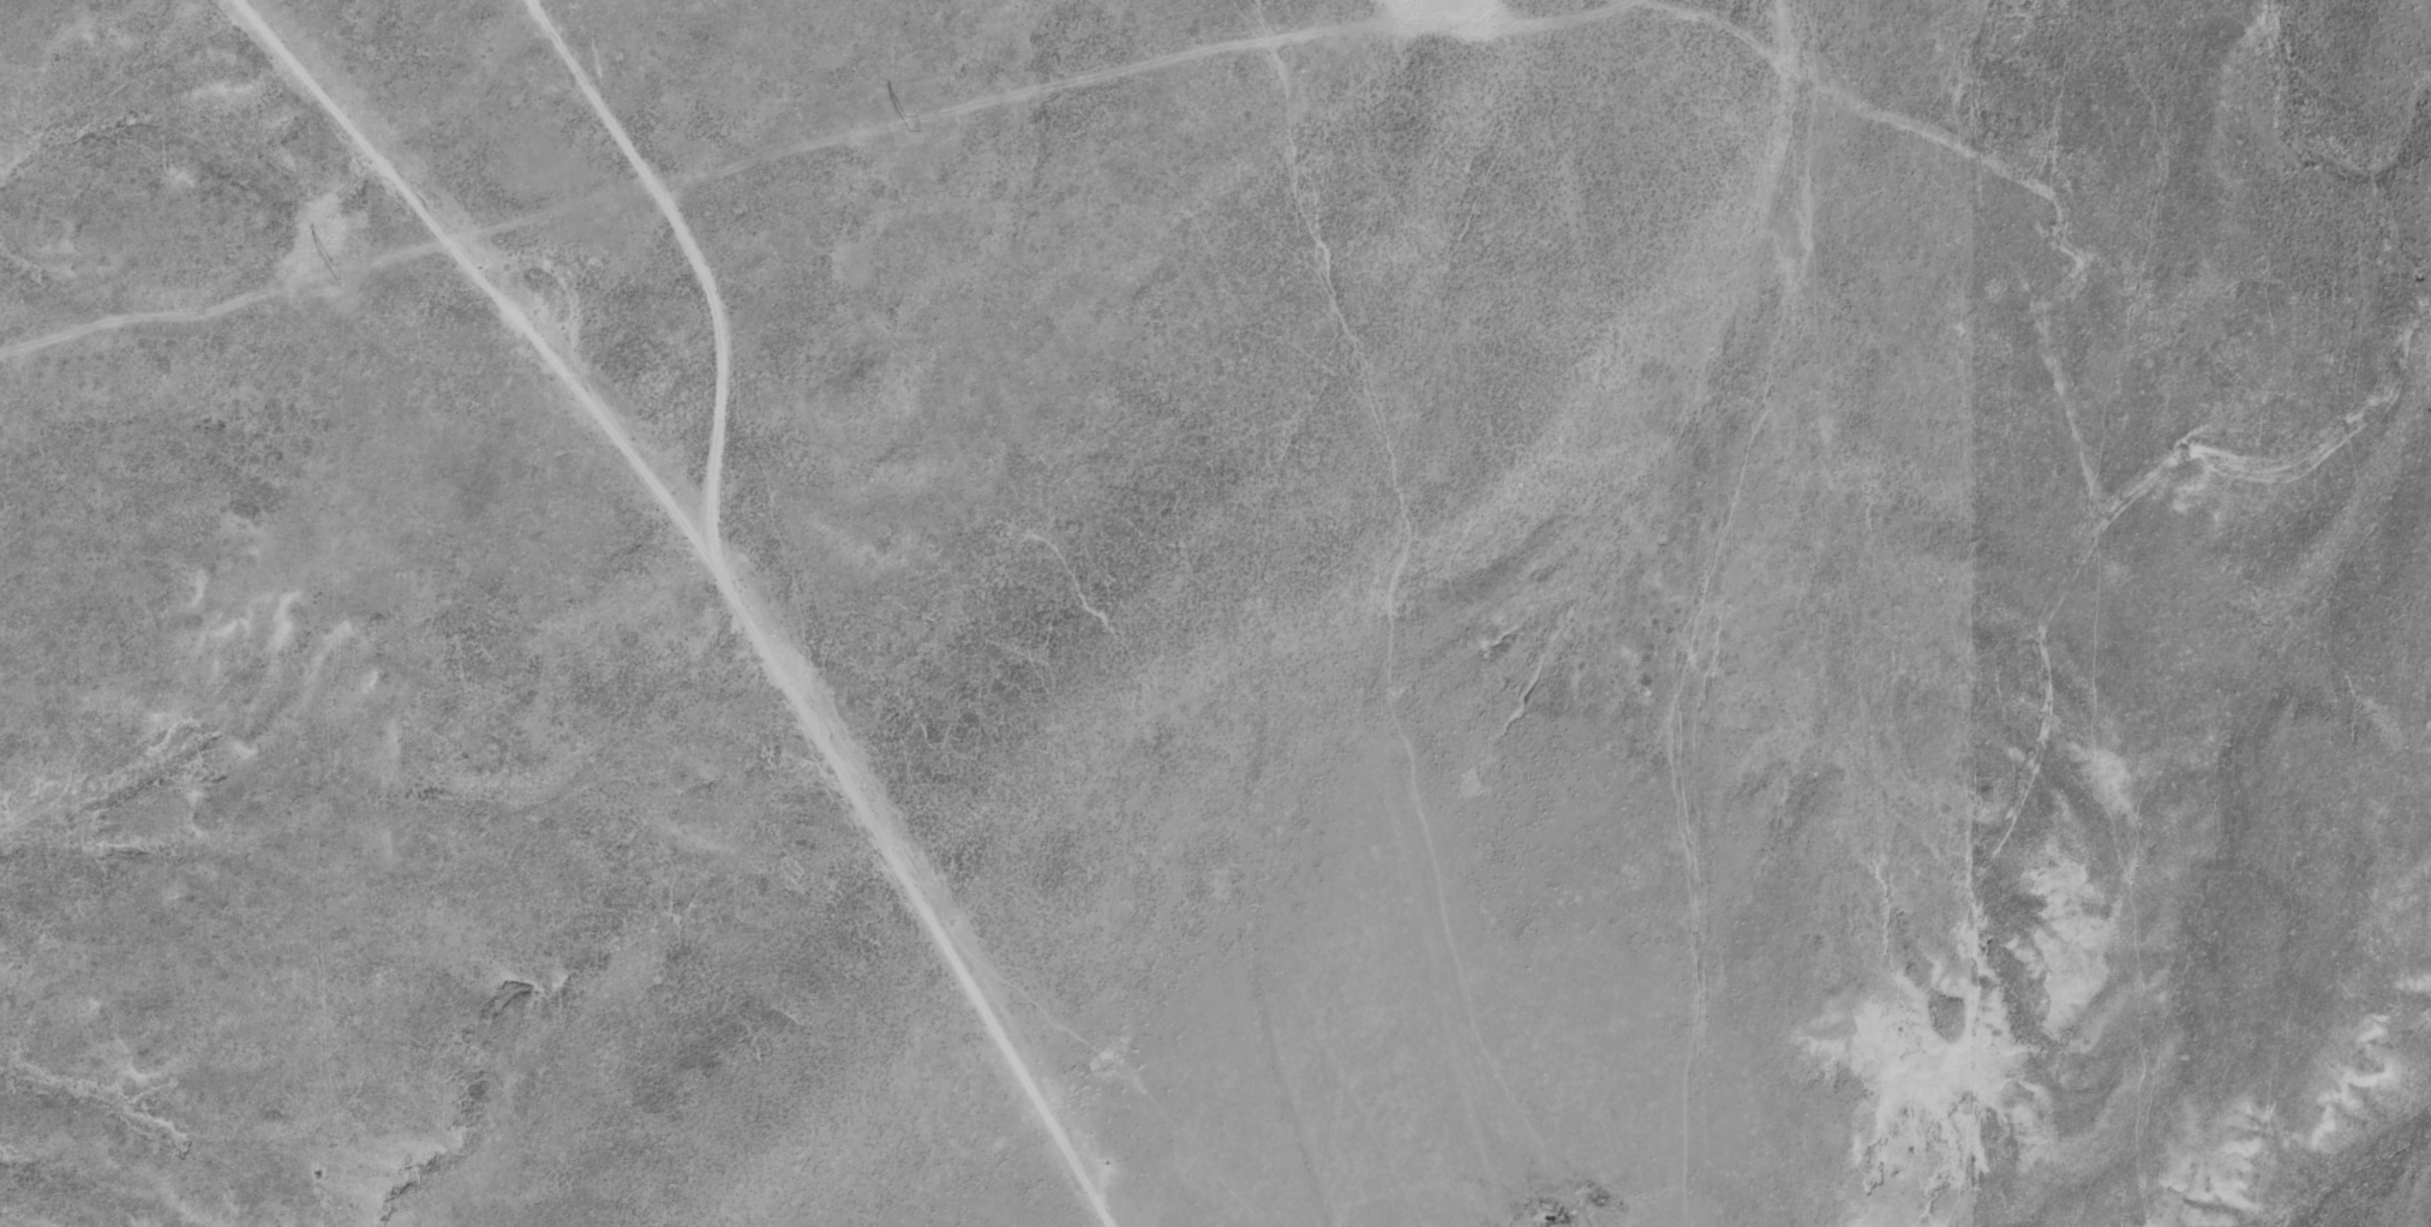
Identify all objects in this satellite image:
power tower: (908, 124)
power tower: (333, 271)

